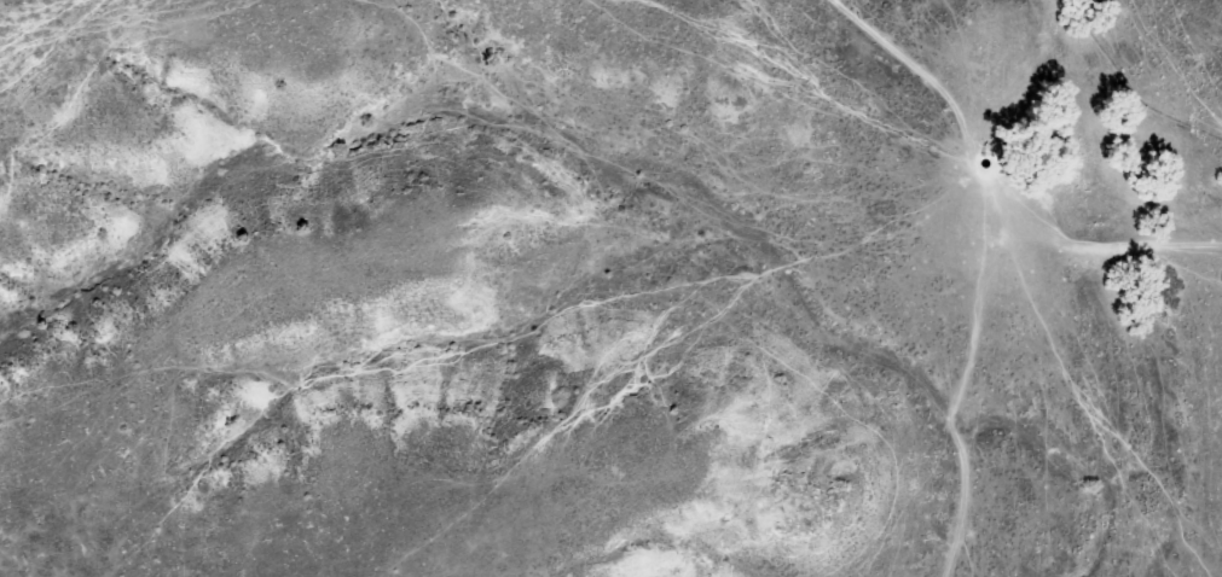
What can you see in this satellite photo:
road: (1025, 161)

